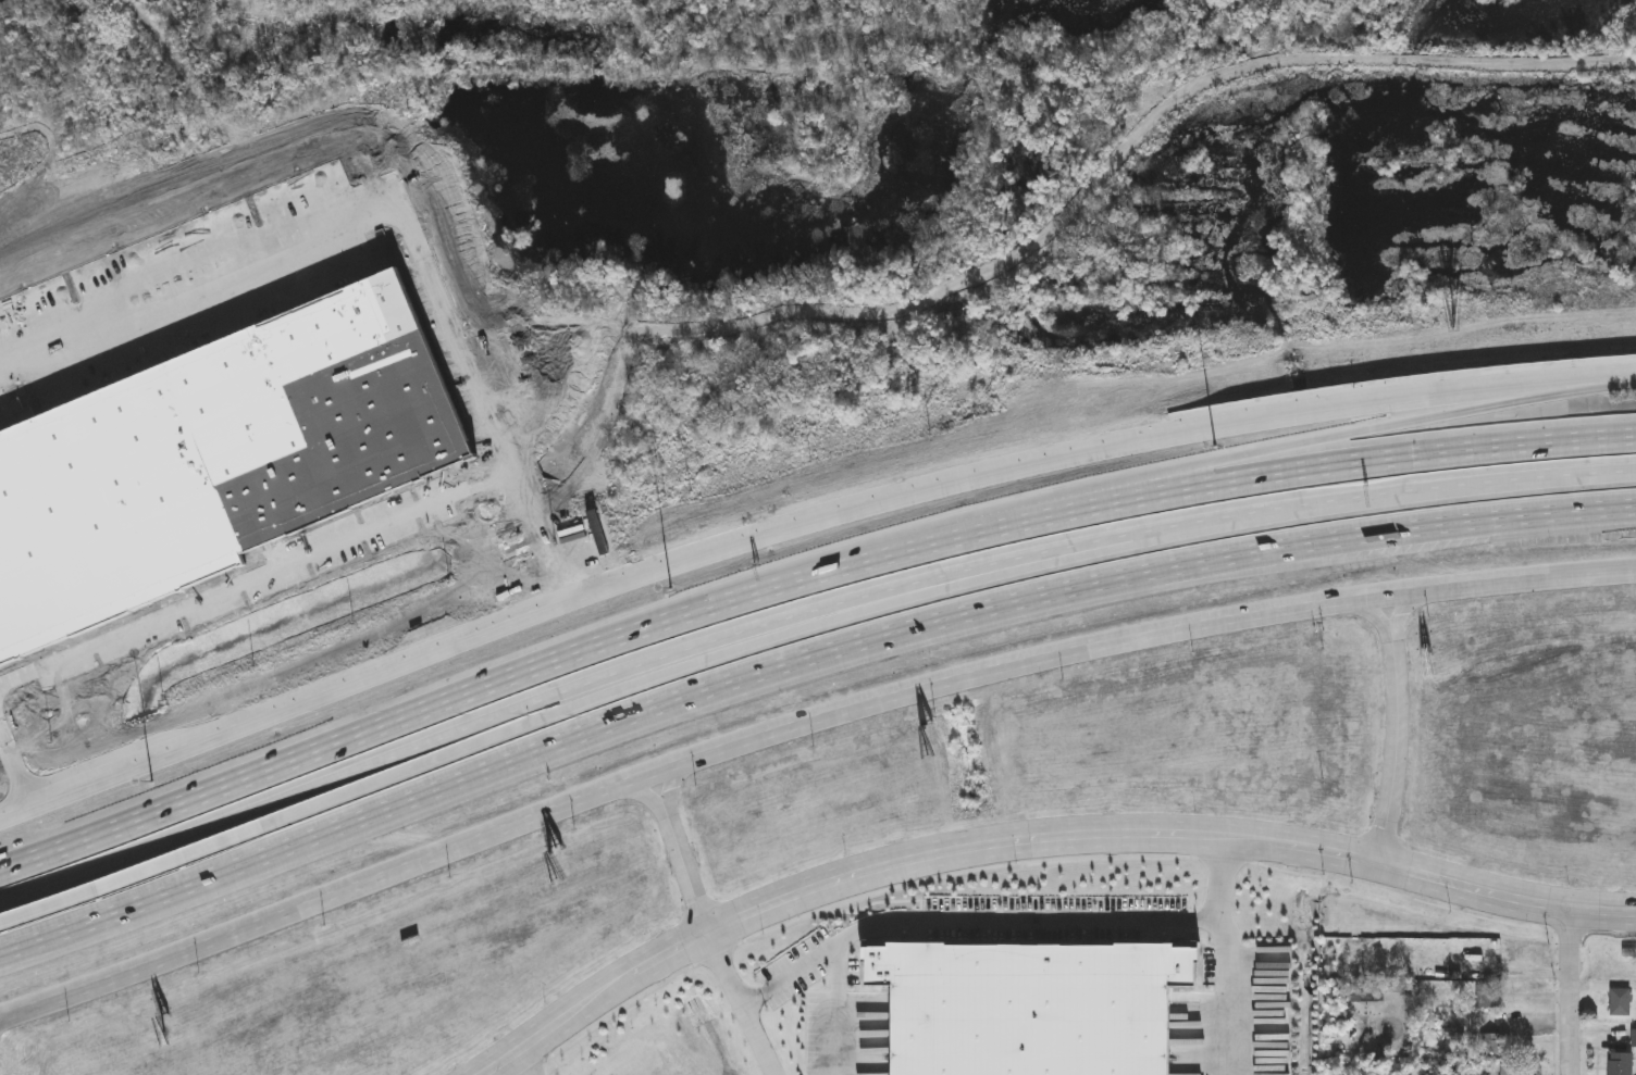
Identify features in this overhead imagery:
road: (1440, 416)
road: (1199, 476)
road: (796, 514)
road: (1077, 552)
road: (798, 580)
road: (1400, 611)
road: (1377, 614)
road: (800, 616)
road: (800, 661)
road: (642, 682)
road: (800, 724)
road: (1395, 740)
road: (671, 785)
road: (646, 793)
road: (905, 863)
road: (685, 866)
road: (132, 876)
road: (1508, 887)
road: (1065, 921)
road: (839, 957)
building: (1487, 957)
road: (1571, 989)
road: (1227, 996)
building: (1490, 999)
road: (744, 1002)
building: (1620, 1002)
road: (7, 1020)
building: (1633, 1038)
building: (1488, 1043)
building: (1619, 1064)
road: (518, 1065)
building: (1509, 1071)

